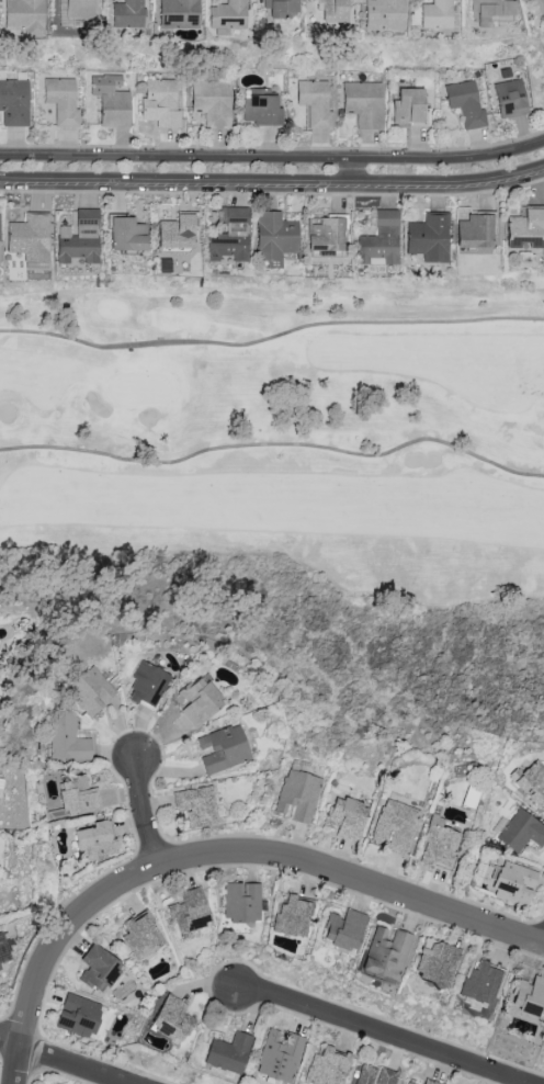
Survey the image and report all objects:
building: (80, 8)
building: (279, 8)
building: (181, 9)
building: (490, 10)
building: (333, 12)
building: (126, 13)
building: (384, 13)
building: (437, 14)
building: (25, 16)
building: (227, 16)
building: (543, 27)
building: (510, 99)
building: (63, 101)
building: (111, 101)
building: (212, 102)
building: (160, 103)
building: (315, 103)
building: (364, 103)
building: (466, 103)
building: (409, 108)
building: (261, 110)
road: (273, 158)
road: (272, 184)
building: (525, 229)
building: (475, 232)
building: (177, 233)
building: (127, 234)
building: (326, 235)
building: (0, 236)
building: (30, 237)
building: (230, 237)
building: (79, 238)
building: (275, 238)
building: (429, 238)
building: (381, 240)
road: (270, 336)
road: (275, 445)
building: (147, 685)
building: (90, 691)
building: (199, 701)
building: (66, 738)
building: (223, 749)
building: (1, 782)
building: (530, 782)
building: (297, 795)
building: (78, 797)
building: (196, 806)
road: (148, 812)
building: (345, 817)
building: (395, 826)
building: (521, 832)
building: (94, 842)
building: (438, 844)
road: (219, 852)
building: (513, 883)
building: (241, 902)
building: (190, 911)
building: (291, 917)
building: (343, 929)
building: (141, 936)
building: (3, 950)
building: (386, 957)
building: (437, 962)
building: (99, 969)
building: (480, 982)
building: (528, 995)
building: (171, 1020)
road: (385, 1036)
road: (9, 1043)
building: (226, 1054)
building: (277, 1055)
road: (73, 1065)
building: (326, 1066)
building: (374, 1075)
building: (430, 1082)
building: (409, 1083)

